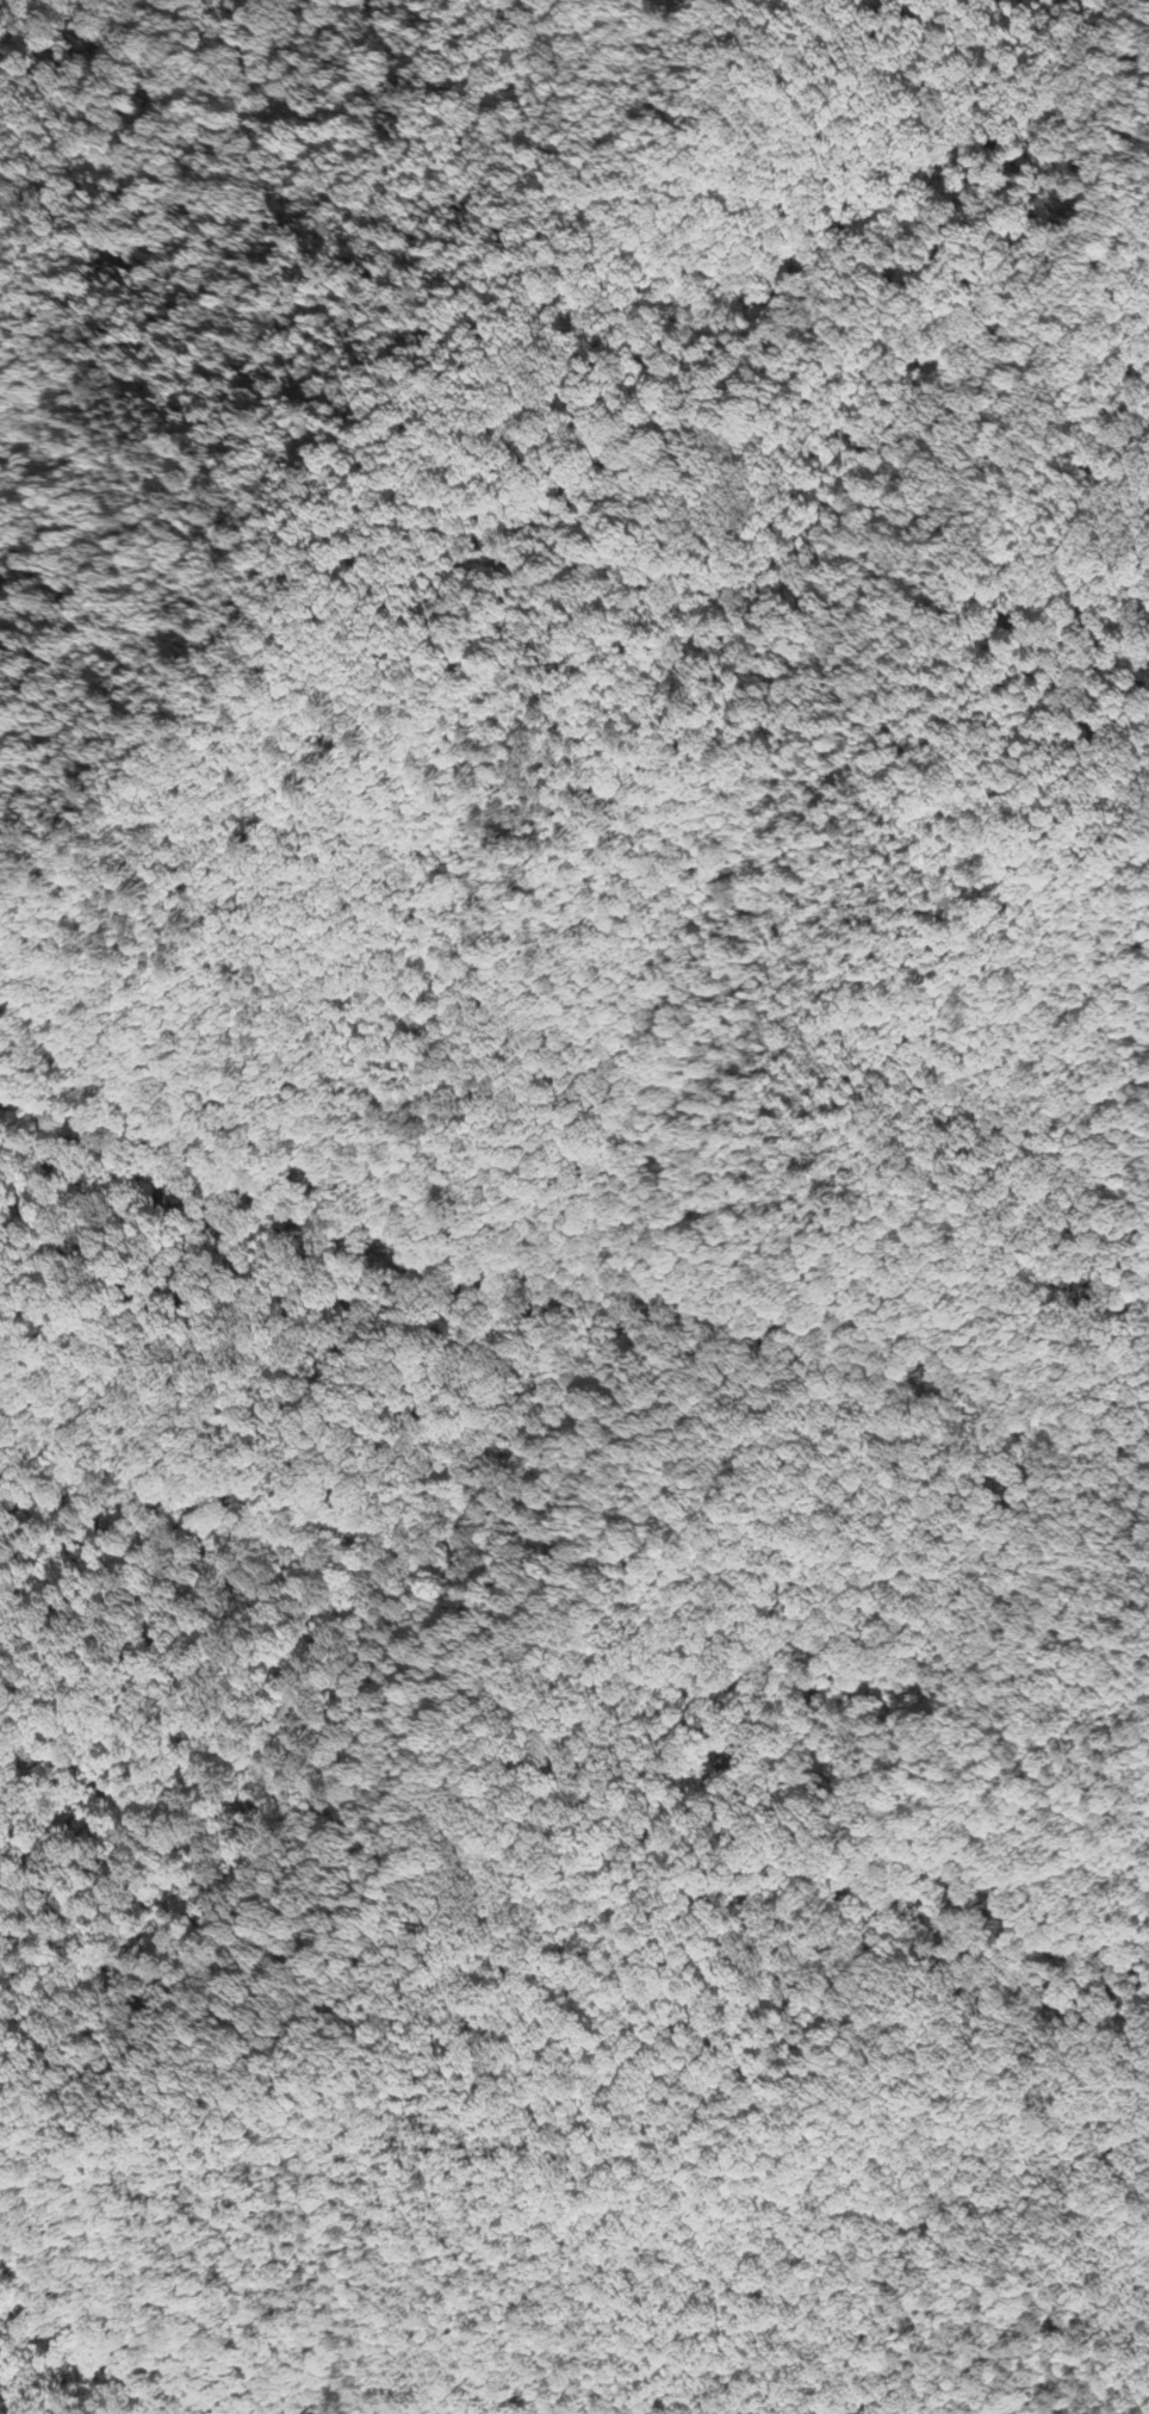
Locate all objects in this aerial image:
road: (222, 913)

